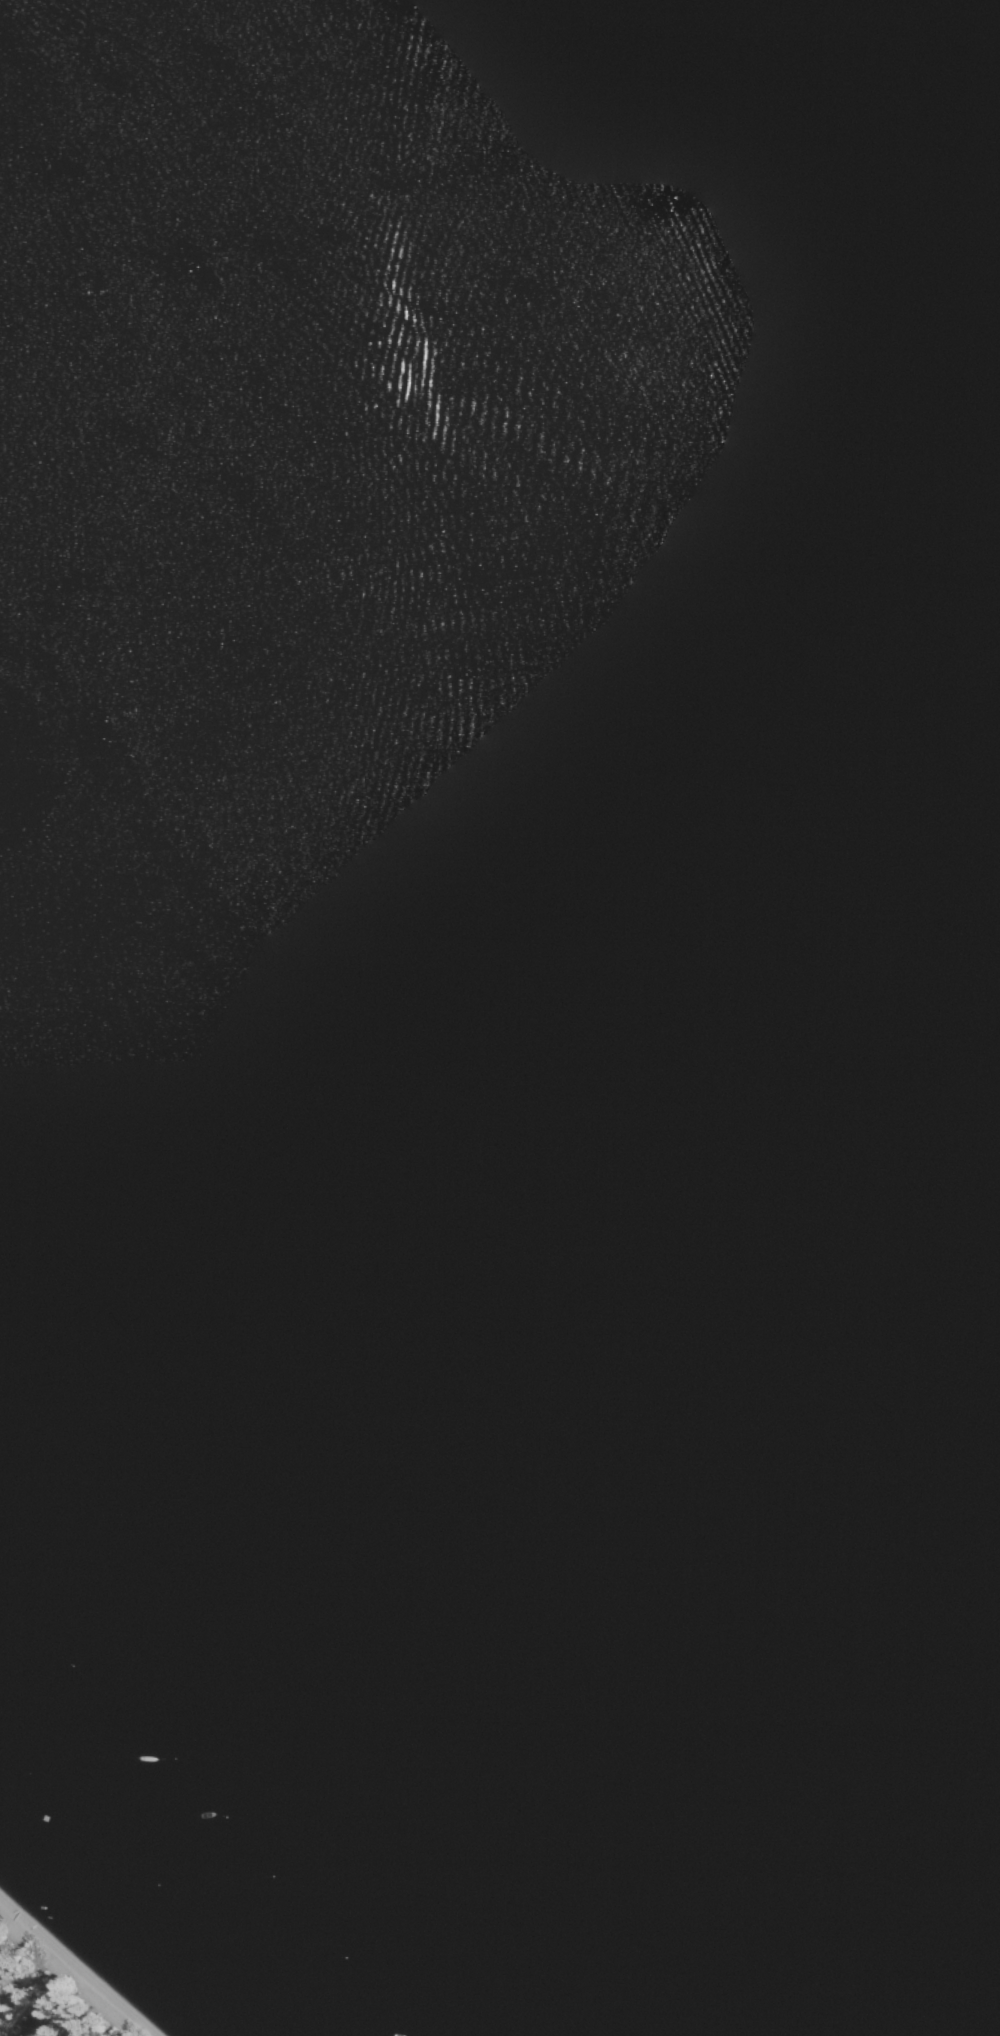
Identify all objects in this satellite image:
building: (33, 2026)
building: (9, 2035)

